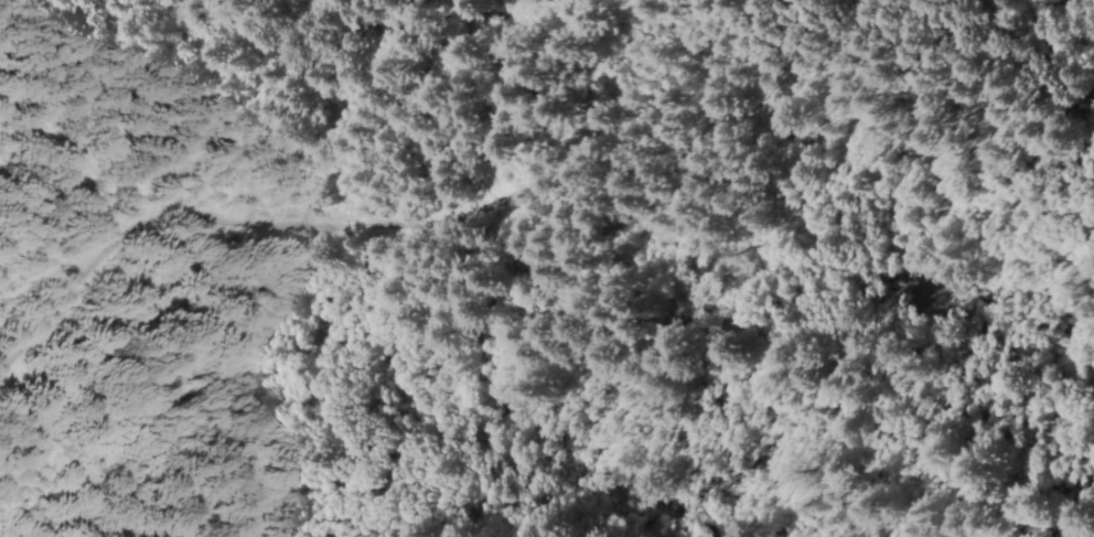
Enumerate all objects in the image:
road: (494, 203)

